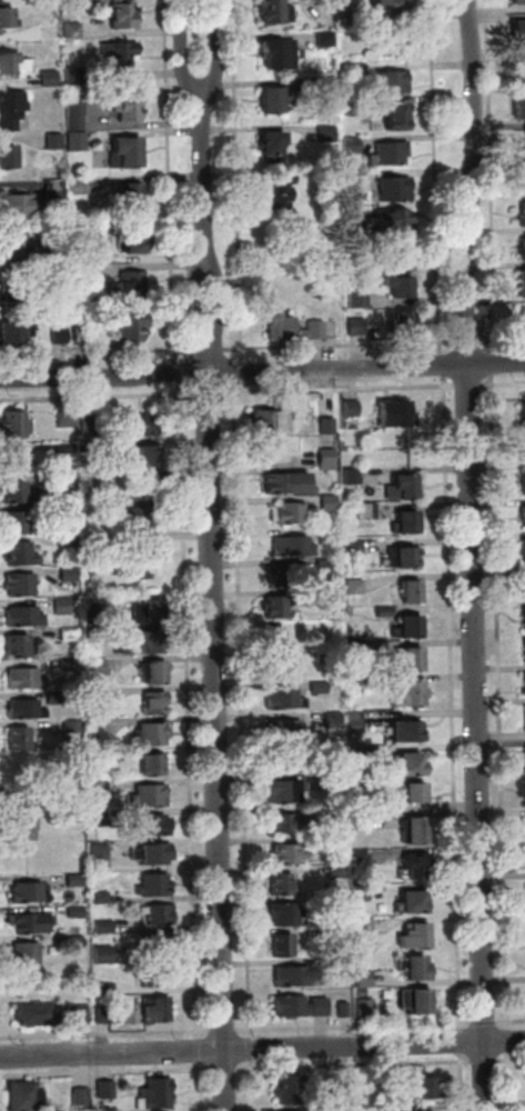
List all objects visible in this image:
building: (326, 1)
building: (518, 2)
building: (387, 7)
building: (273, 12)
building: (350, 12)
building: (124, 14)
building: (7, 18)
building: (518, 31)
building: (74, 32)
building: (326, 39)
road: (183, 48)
road: (220, 50)
building: (121, 56)
building: (279, 56)
building: (14, 67)
building: (360, 70)
building: (75, 77)
building: (519, 77)
building: (51, 80)
building: (394, 82)
building: (325, 86)
building: (274, 100)
building: (129, 106)
building: (352, 108)
building: (12, 110)
building: (521, 110)
building: (77, 114)
building: (395, 117)
building: (327, 133)
building: (55, 142)
building: (78, 142)
building: (273, 147)
building: (521, 151)
building: (128, 154)
building: (393, 154)
building: (8, 158)
road: (492, 177)
road: (436, 178)
road: (238, 181)
road: (170, 182)
road: (475, 182)
road: (203, 186)
building: (80, 188)
building: (55, 190)
building: (396, 190)
building: (280, 194)
building: (131, 201)
building: (20, 207)
building: (523, 216)
building: (394, 220)
building: (137, 241)
building: (18, 249)
building: (524, 250)
building: (83, 256)
building: (403, 256)
building: (57, 260)
building: (356, 270)
building: (89, 276)
building: (400, 283)
building: (523, 286)
building: (14, 290)
building: (131, 290)
building: (360, 300)
road: (221, 306)
road: (193, 307)
building: (524, 319)
building: (405, 324)
building: (133, 327)
building: (282, 328)
building: (357, 328)
building: (316, 330)
building: (17, 334)
building: (61, 337)
building: (84, 337)
road: (501, 340)
road: (467, 342)
road: (340, 346)
road: (208, 351)
road: (95, 353)
road: (496, 364)
road: (442, 366)
road: (494, 366)
road: (234, 372)
road: (178, 373)
road: (239, 374)
road: (502, 384)
road: (468, 387)
road: (339, 390)
road: (209, 394)
road: (98, 398)
building: (524, 407)
building: (352, 409)
building: (395, 414)
building: (65, 421)
building: (270, 423)
building: (17, 426)
building: (92, 427)
building: (137, 427)
building: (329, 427)
building: (67, 449)
building: (93, 449)
building: (145, 458)
building: (327, 460)
building: (17, 462)
building: (353, 478)
building: (100, 481)
building: (68, 482)
building: (289, 484)
building: (524, 484)
building: (404, 489)
building: (154, 491)
building: (18, 494)
building: (330, 504)
building: (92, 511)
building: (68, 512)
building: (367, 512)
building: (293, 514)
building: (522, 516)
building: (140, 519)
building: (19, 523)
building: (407, 524)
building: (327, 537)
building: (69, 541)
building: (92, 542)
building: (293, 548)
building: (354, 548)
building: (524, 548)
building: (21, 554)
building: (142, 560)
building: (403, 560)
building: (327, 569)
building: (69, 574)
building: (280, 578)
building: (524, 583)
building: (22, 585)
building: (355, 588)
building: (411, 594)
building: (332, 595)
building: (97, 604)
building: (63, 607)
building: (275, 609)
building: (149, 612)
building: (385, 612)
building: (24, 618)
building: (523, 619)
building: (413, 629)
building: (71, 634)
building: (275, 640)
building: (152, 642)
building: (18, 647)
building: (357, 650)
building: (524, 650)
building: (324, 658)
building: (410, 660)
building: (68, 665)
building: (98, 668)
building: (283, 670)
building: (154, 674)
building: (26, 680)
building: (368, 683)
building: (524, 683)
building: (321, 688)
building: (411, 695)
building: (97, 697)
building: (55, 698)
building: (285, 701)
road: (499, 703)
building: (155, 704)
road: (452, 704)
building: (27, 711)
road: (189, 711)
road: (242, 712)
building: (524, 719)
road: (216, 720)
building: (355, 720)
building: (333, 721)
building: (73, 728)
building: (98, 728)
building: (290, 732)
building: (408, 732)
building: (151, 735)
road: (478, 738)
building: (21, 740)
building: (333, 751)
building: (360, 755)
building: (98, 757)
building: (154, 763)
building: (287, 763)
building: (412, 768)
building: (335, 779)
building: (72, 784)
building: (99, 788)
building: (286, 793)
building: (414, 793)
building: (152, 797)
building: (361, 803)
building: (336, 812)
building: (29, 820)
building: (99, 820)
building: (361, 823)
building: (289, 825)
building: (154, 827)
building: (416, 832)
building: (332, 841)
building: (153, 854)
building: (290, 854)
building: (101, 859)
building: (362, 859)
building: (417, 867)
building: (339, 872)
building: (75, 881)
building: (282, 884)
building: (155, 887)
building: (361, 893)
building: (30, 894)
building: (101, 899)
building: (340, 903)
building: (413, 903)
building: (77, 913)
building: (289, 914)
building: (160, 915)
building: (31, 924)
building: (364, 927)
building: (104, 929)
building: (62, 933)
building: (337, 935)
building: (416, 938)
building: (158, 947)
building: (284, 947)
building: (28, 954)
building: (103, 955)
building: (340, 967)
building: (416, 970)
building: (295, 977)
building: (158, 978)
building: (365, 980)
building: (107, 990)
building: (362, 993)
building: (418, 1002)
building: (301, 1008)
building: (366, 1009)
building: (158, 1010)
building: (344, 1011)
building: (38, 1017)
building: (80, 1017)
building: (103, 1017)
road: (511, 1022)
road: (484, 1023)
road: (354, 1027)
road: (222, 1031)
road: (104, 1034)
road: (508, 1041)
road: (461, 1042)
road: (251, 1049)
road: (262, 1049)
road: (196, 1051)
road: (380, 1064)
road: (224, 1070)
road: (105, 1072)
road: (509, 1081)
building: (343, 1082)
road: (462, 1082)
building: (378, 1084)
road: (251, 1085)
road: (198, 1087)
building: (426, 1089)
building: (291, 1090)
building: (107, 1091)
building: (155, 1095)
building: (26, 1098)
building: (82, 1098)
building: (343, 1109)
building: (370, 1109)
building: (417, 1110)

